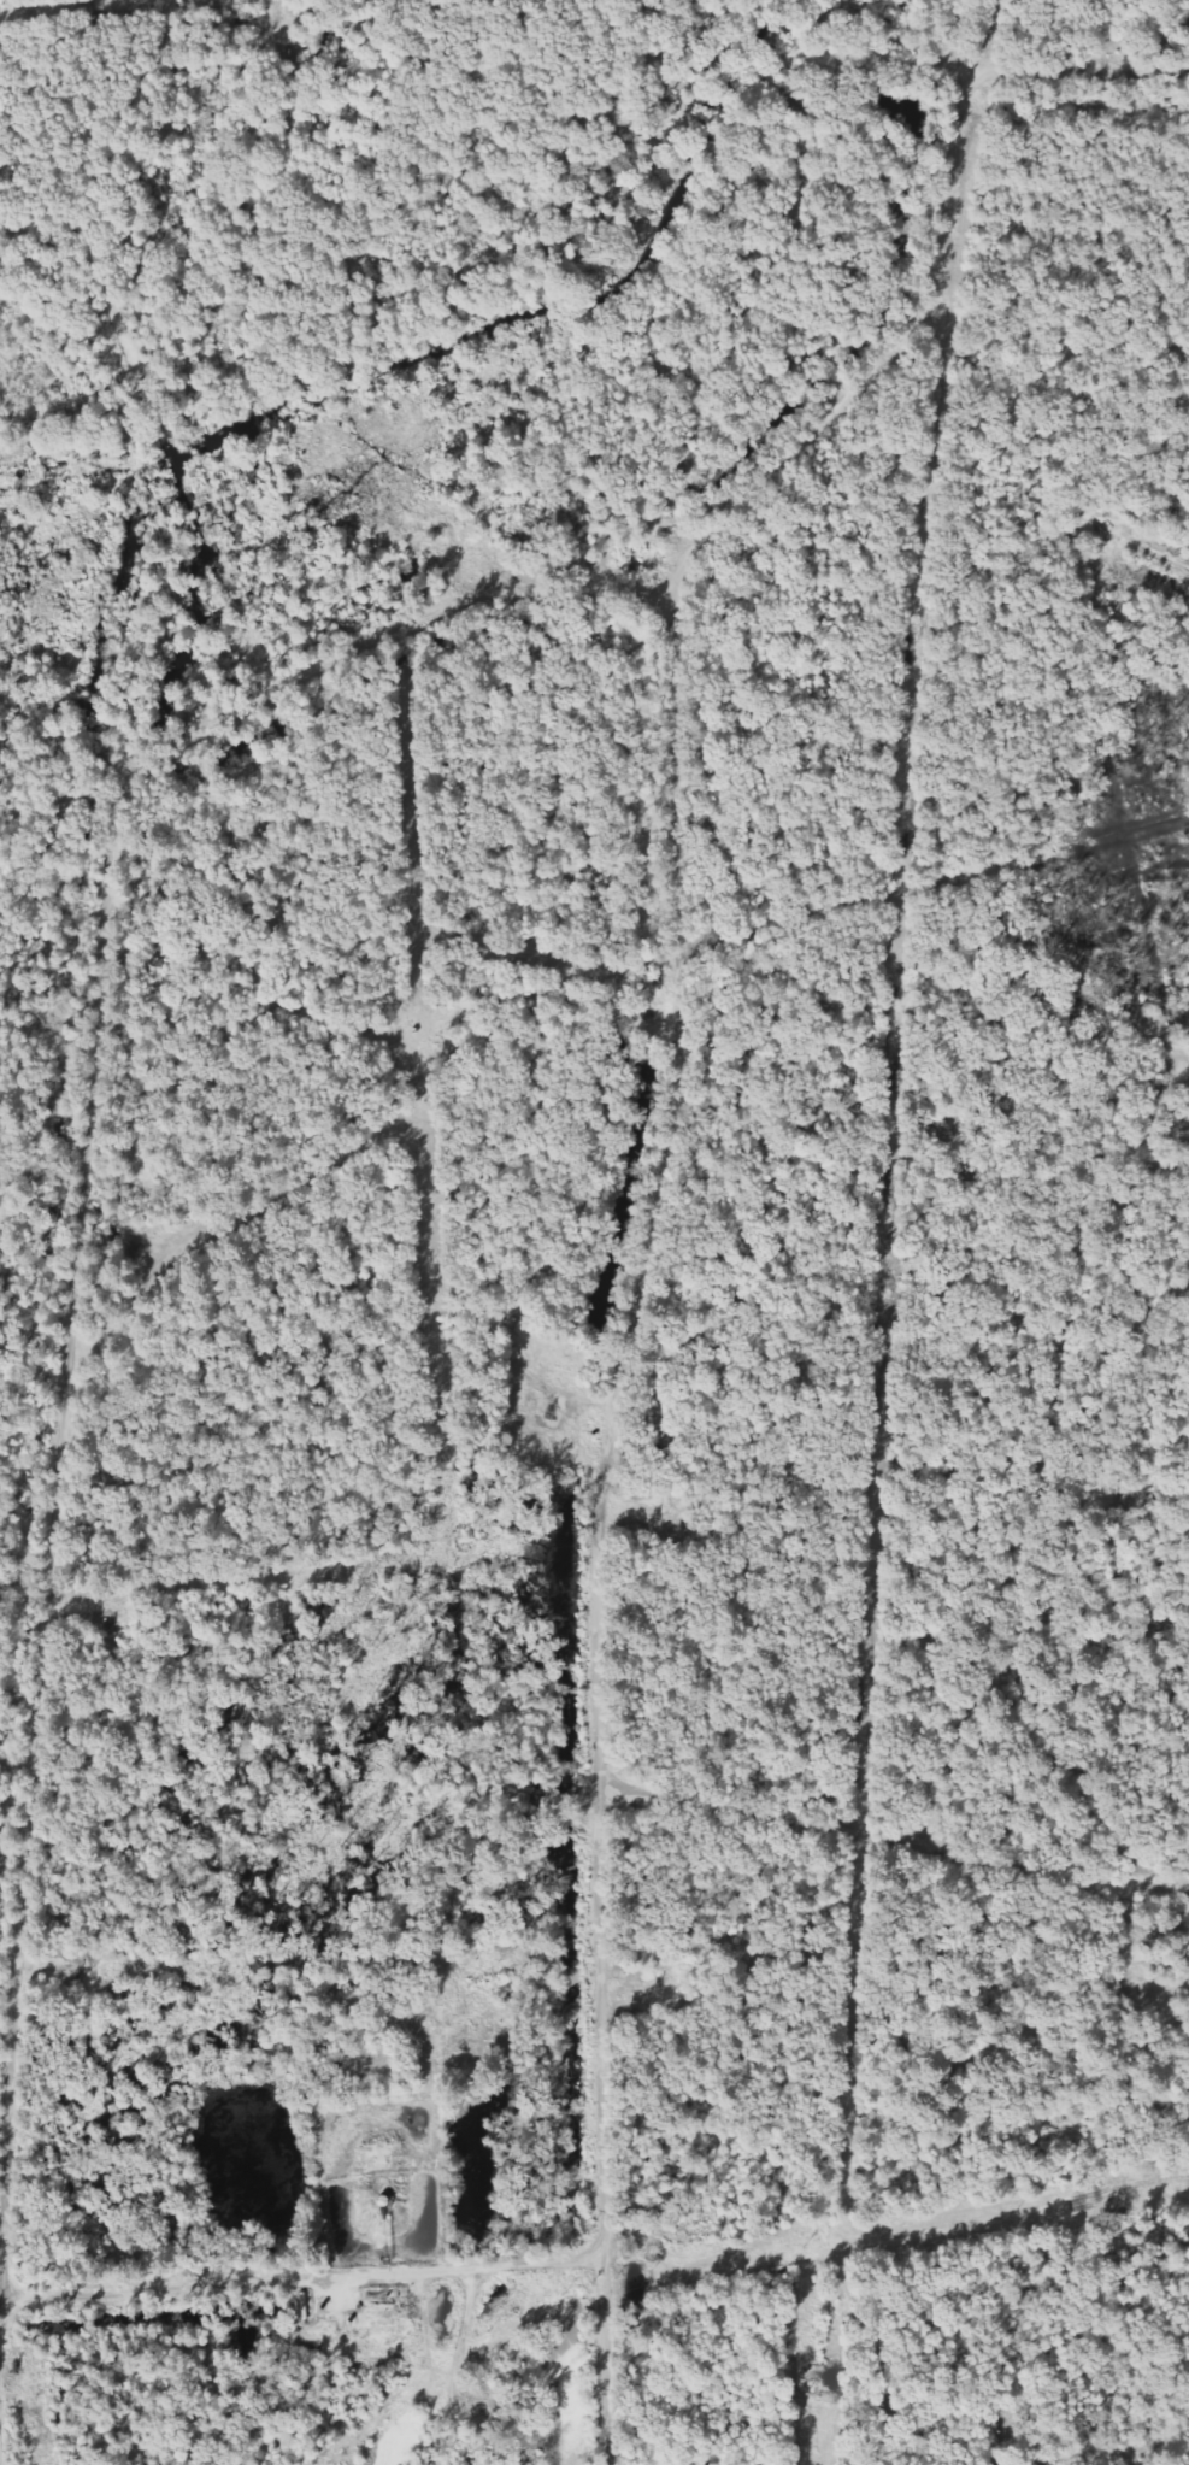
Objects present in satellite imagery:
road: (114, 125)

